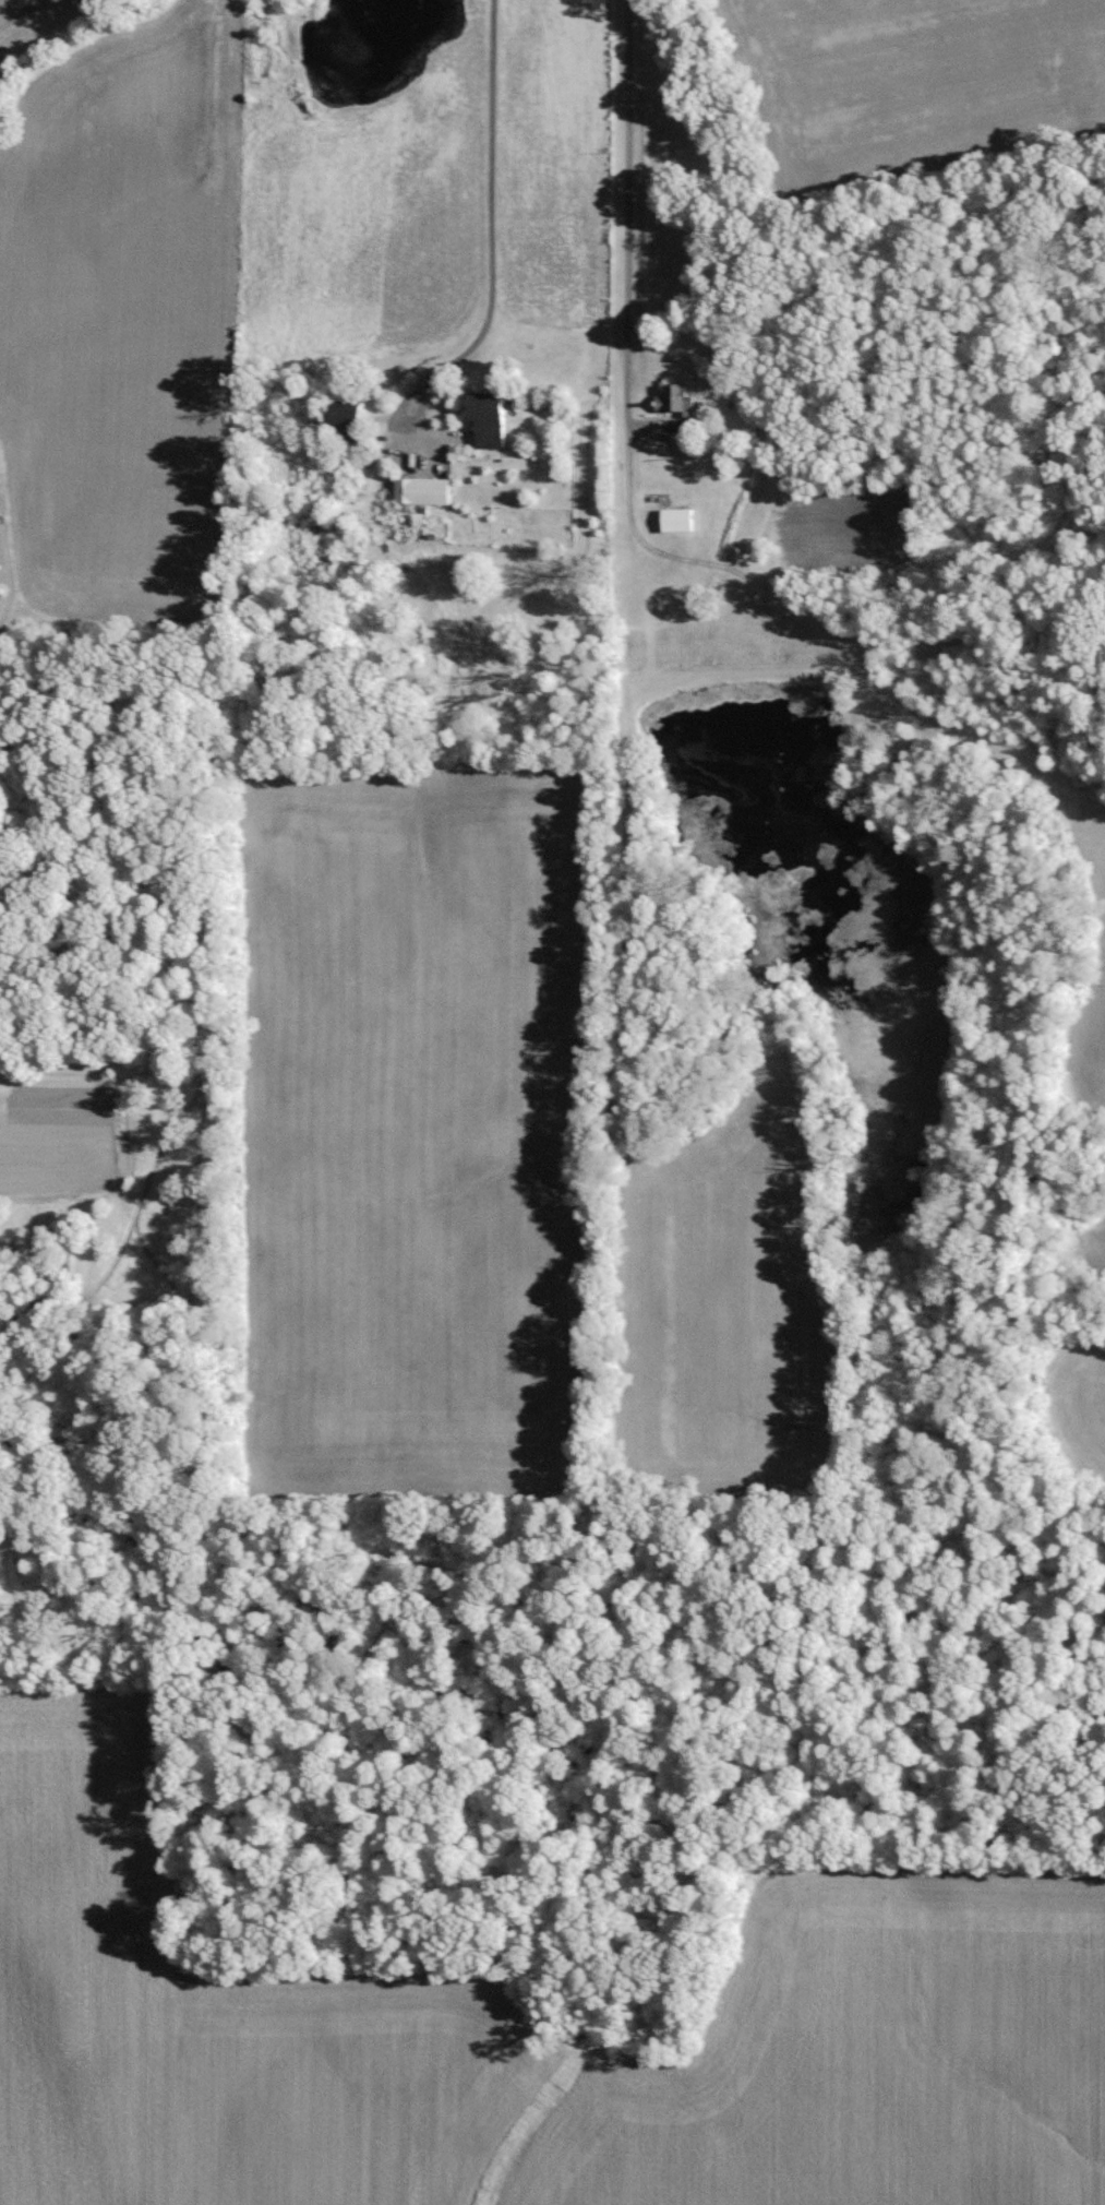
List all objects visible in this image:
road: (614, 222)
road: (488, 225)
building: (674, 397)
building: (489, 417)
building: (346, 419)
building: (421, 490)
building: (676, 520)

